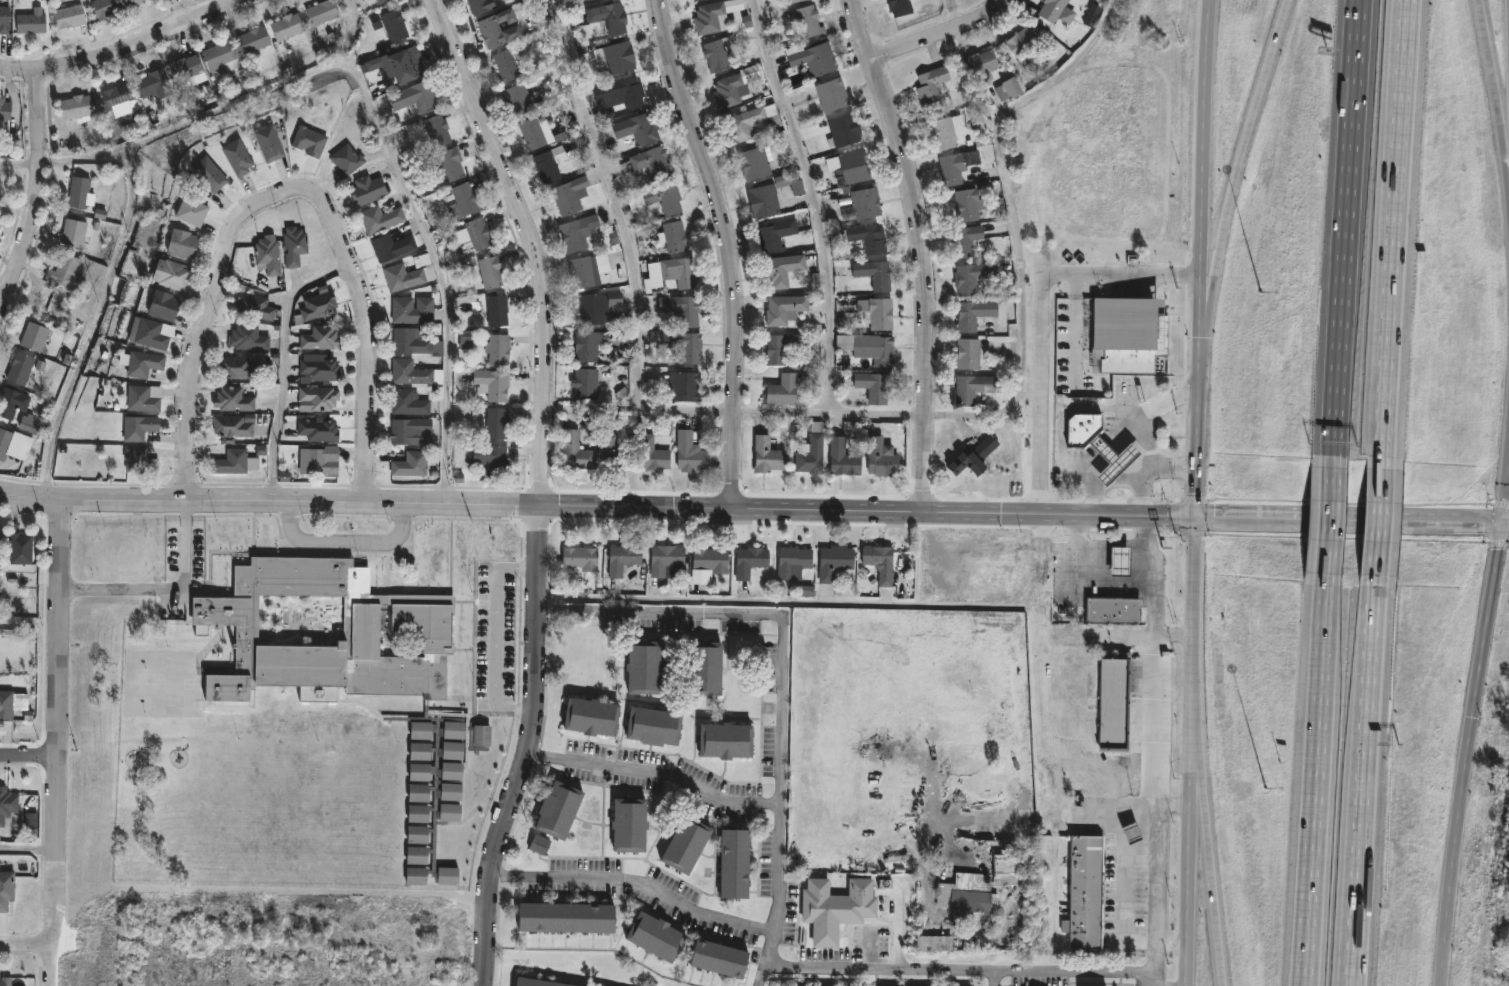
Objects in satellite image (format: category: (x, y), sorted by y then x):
building: (597, 0)
building: (135, 1)
building: (377, 1)
building: (793, 1)
building: (480, 6)
building: (901, 7)
building: (106, 8)
building: (1051, 11)
building: (322, 12)
road: (954, 14)
building: (69, 16)
building: (712, 16)
building: (609, 17)
building: (4, 19)
building: (809, 20)
building: (31, 21)
building: (395, 24)
building: (287, 26)
building: (499, 28)
road: (943, 33)
building: (1022, 40)
building: (253, 41)
road: (123, 47)
building: (717, 53)
building: (222, 56)
building: (616, 57)
building: (813, 57)
building: (509, 62)
road: (1491, 62)
building: (406, 63)
building: (982, 64)
building: (186, 67)
building: (154, 83)
building: (932, 84)
building: (733, 87)
building: (1015, 88)
building: (621, 93)
building: (832, 94)
building: (415, 96)
building: (120, 98)
building: (520, 98)
road: (372, 105)
building: (76, 107)
building: (5, 116)
building: (753, 122)
building: (637, 129)
building: (436, 130)
building: (845, 130)
building: (947, 131)
building: (533, 133)
road: (1505, 139)
building: (310, 140)
building: (269, 142)
building: (238, 156)
building: (346, 160)
building: (653, 161)
building: (451, 163)
building: (549, 163)
building: (755, 163)
building: (850, 166)
building: (958, 167)
building: (209, 173)
building: (0, 184)
road: (292, 189)
building: (368, 189)
road: (1234, 190)
building: (79, 191)
road: (1207, 192)
road: (38, 194)
building: (0, 195)
building: (571, 195)
building: (665, 197)
building: (462, 198)
building: (765, 199)
road: (815, 201)
road: (623, 202)
building: (867, 202)
building: (969, 204)
building: (191, 209)
building: (380, 218)
building: (74, 232)
road: (1346, 232)
building: (578, 233)
building: (776, 233)
road: (1393, 234)
building: (474, 235)
building: (675, 236)
building: (866, 237)
building: (966, 240)
building: (182, 243)
road: (532, 243)
building: (294, 245)
building: (392, 246)
road: (734, 247)
road: (923, 251)
building: (269, 255)
building: (782, 269)
building: (491, 270)
building: (584, 271)
building: (682, 271)
building: (65, 272)
building: (173, 274)
building: (876, 274)
building: (403, 276)
building: (970, 277)
building: (163, 305)
building: (319, 305)
building: (598, 306)
building: (257, 307)
building: (683, 308)
building: (784, 308)
building: (412, 309)
building: (497, 310)
building: (877, 311)
building: (974, 314)
road: (1039, 315)
road: (93, 326)
road: (1075, 331)
building: (150, 333)
building: (35, 336)
building: (249, 338)
building: (321, 338)
building: (415, 342)
building: (595, 343)
building: (685, 345)
building: (779, 347)
building: (869, 347)
building: (498, 349)
building: (969, 353)
building: (141, 362)
building: (239, 367)
building: (20, 368)
building: (318, 368)
building: (410, 371)
building: (587, 383)
building: (493, 384)
building: (686, 385)
building: (874, 385)
building: (786, 388)
building: (972, 388)
road: (286, 396)
building: (318, 397)
building: (144, 398)
building: (233, 400)
building: (13, 401)
building: (409, 402)
road: (1011, 407)
road: (1150, 411)
building: (1088, 413)
building: (497, 422)
building: (234, 425)
building: (140, 427)
building: (319, 429)
building: (412, 431)
building: (1118, 442)
gas station: (1118, 442)
building: (14, 443)
road: (1198, 449)
building: (578, 450)
building: (812, 450)
building: (691, 451)
building: (769, 452)
building: (616, 453)
building: (654, 454)
building: (844, 457)
building: (881, 457)
building: (974, 457)
building: (140, 459)
building: (320, 459)
building: (494, 460)
building: (235, 462)
building: (412, 462)
road: (1149, 466)
road: (1110, 485)
road: (1506, 495)
road: (269, 501)
road: (195, 508)
road: (868, 511)
traffic signals: (1197, 515)
road: (1349, 517)
road: (1330, 519)
traffic signals: (1503, 519)
road: (1506, 519)
road: (1378, 521)
building: (0, 533)
road: (352, 533)
road: (1104, 542)
building: (21, 547)
road: (1151, 554)
building: (581, 557)
building: (623, 558)
building: (879, 558)
building: (667, 559)
building: (712, 559)
building: (751, 559)
building: (793, 560)
building: (1121, 560)
gas station: (1121, 560)
building: (835, 561)
road: (153, 576)
building: (1118, 597)
road: (782, 599)
building: (1117, 610)
road: (1155, 613)
road: (1488, 618)
road: (1174, 632)
road: (1123, 633)
road: (789, 653)
building: (645, 665)
building: (707, 667)
building: (355, 670)
building: (1115, 703)
building: (6, 704)
building: (591, 714)
building: (655, 724)
building: (483, 735)
building: (726, 738)
road: (59, 743)
road: (532, 748)
road: (1190, 750)
road: (29, 753)
building: (482, 761)
road: (658, 775)
road: (1316, 779)
road: (1364, 780)
building: (7, 803)
road: (1154, 804)
road: (1172, 805)
road: (1194, 805)
building: (558, 808)
road: (1071, 811)
road: (1199, 812)
building: (630, 823)
building: (686, 843)
building: (541, 846)
road: (1454, 851)
road: (28, 853)
building: (735, 862)
building: (1007, 869)
road: (637, 887)
building: (6, 888)
road: (1117, 889)
building: (1087, 892)
building: (967, 893)
building: (840, 898)
road: (1216, 914)
building: (566, 916)
building: (655, 935)
road: (26, 941)
road: (1173, 942)
building: (935, 943)
road: (769, 953)
building: (720, 957)
road: (978, 976)
road: (762, 977)
building: (6, 981)
road: (997, 981)
road: (1152, 981)
building: (541, 982)

